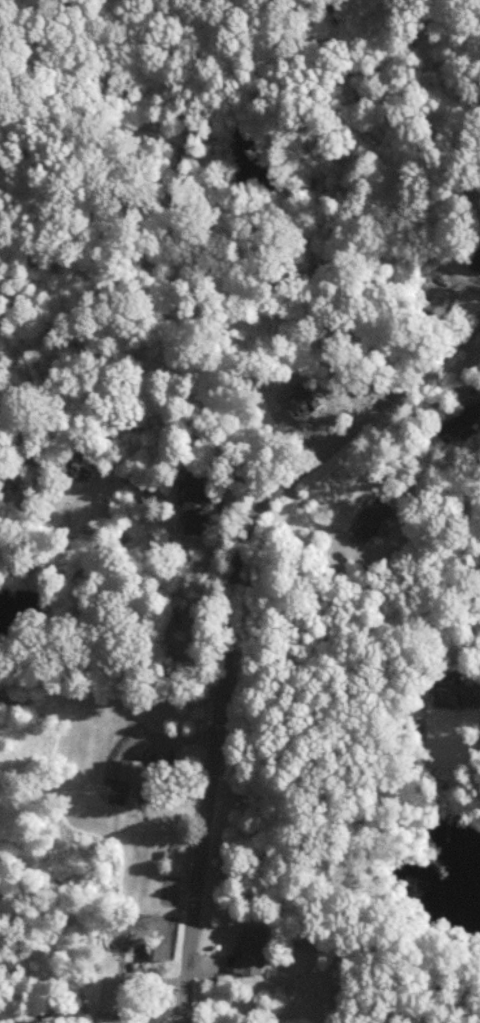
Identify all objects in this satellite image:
building: (476, 261)
building: (439, 299)
building: (300, 400)
building: (458, 424)
building: (72, 465)
building: (195, 500)
building: (373, 517)
road: (231, 619)
building: (456, 692)
building: (129, 777)
building: (248, 950)
building: (153, 951)
building: (112, 994)

